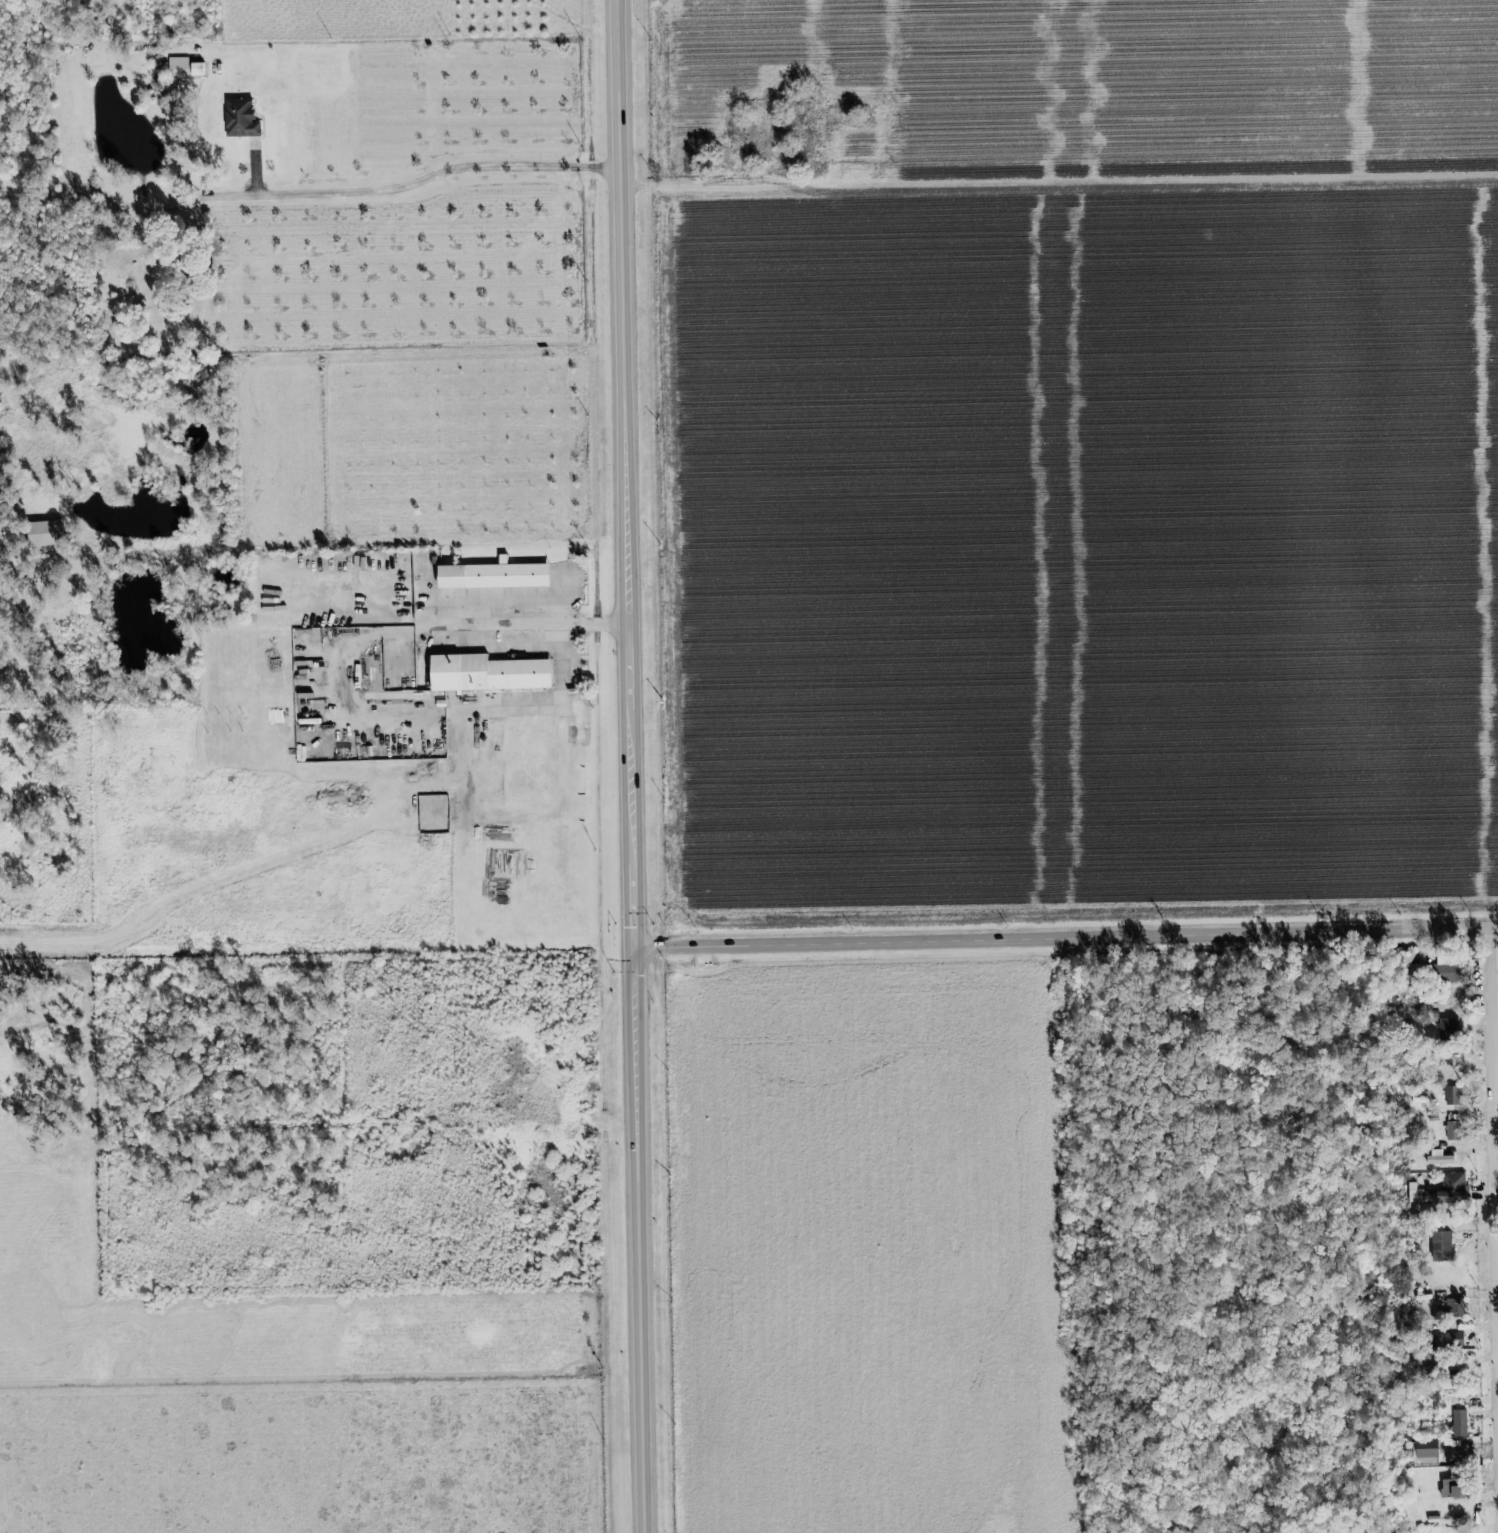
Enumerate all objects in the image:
building: (182, 68)
building: (243, 119)
road: (432, 174)
road: (17, 512)
building: (51, 534)
building: (494, 573)
road: (530, 623)
building: (483, 673)
road: (559, 705)
road: (627, 766)
road: (1064, 936)
building: (1450, 973)
building: (1447, 1027)
road: (1495, 1088)
building: (1451, 1095)
building: (1451, 1131)
building: (1438, 1158)
building: (1456, 1187)
building: (1441, 1246)
building: (1453, 1308)
building: (1454, 1340)
building: (1458, 1423)
building: (1425, 1449)
building: (1450, 1489)

